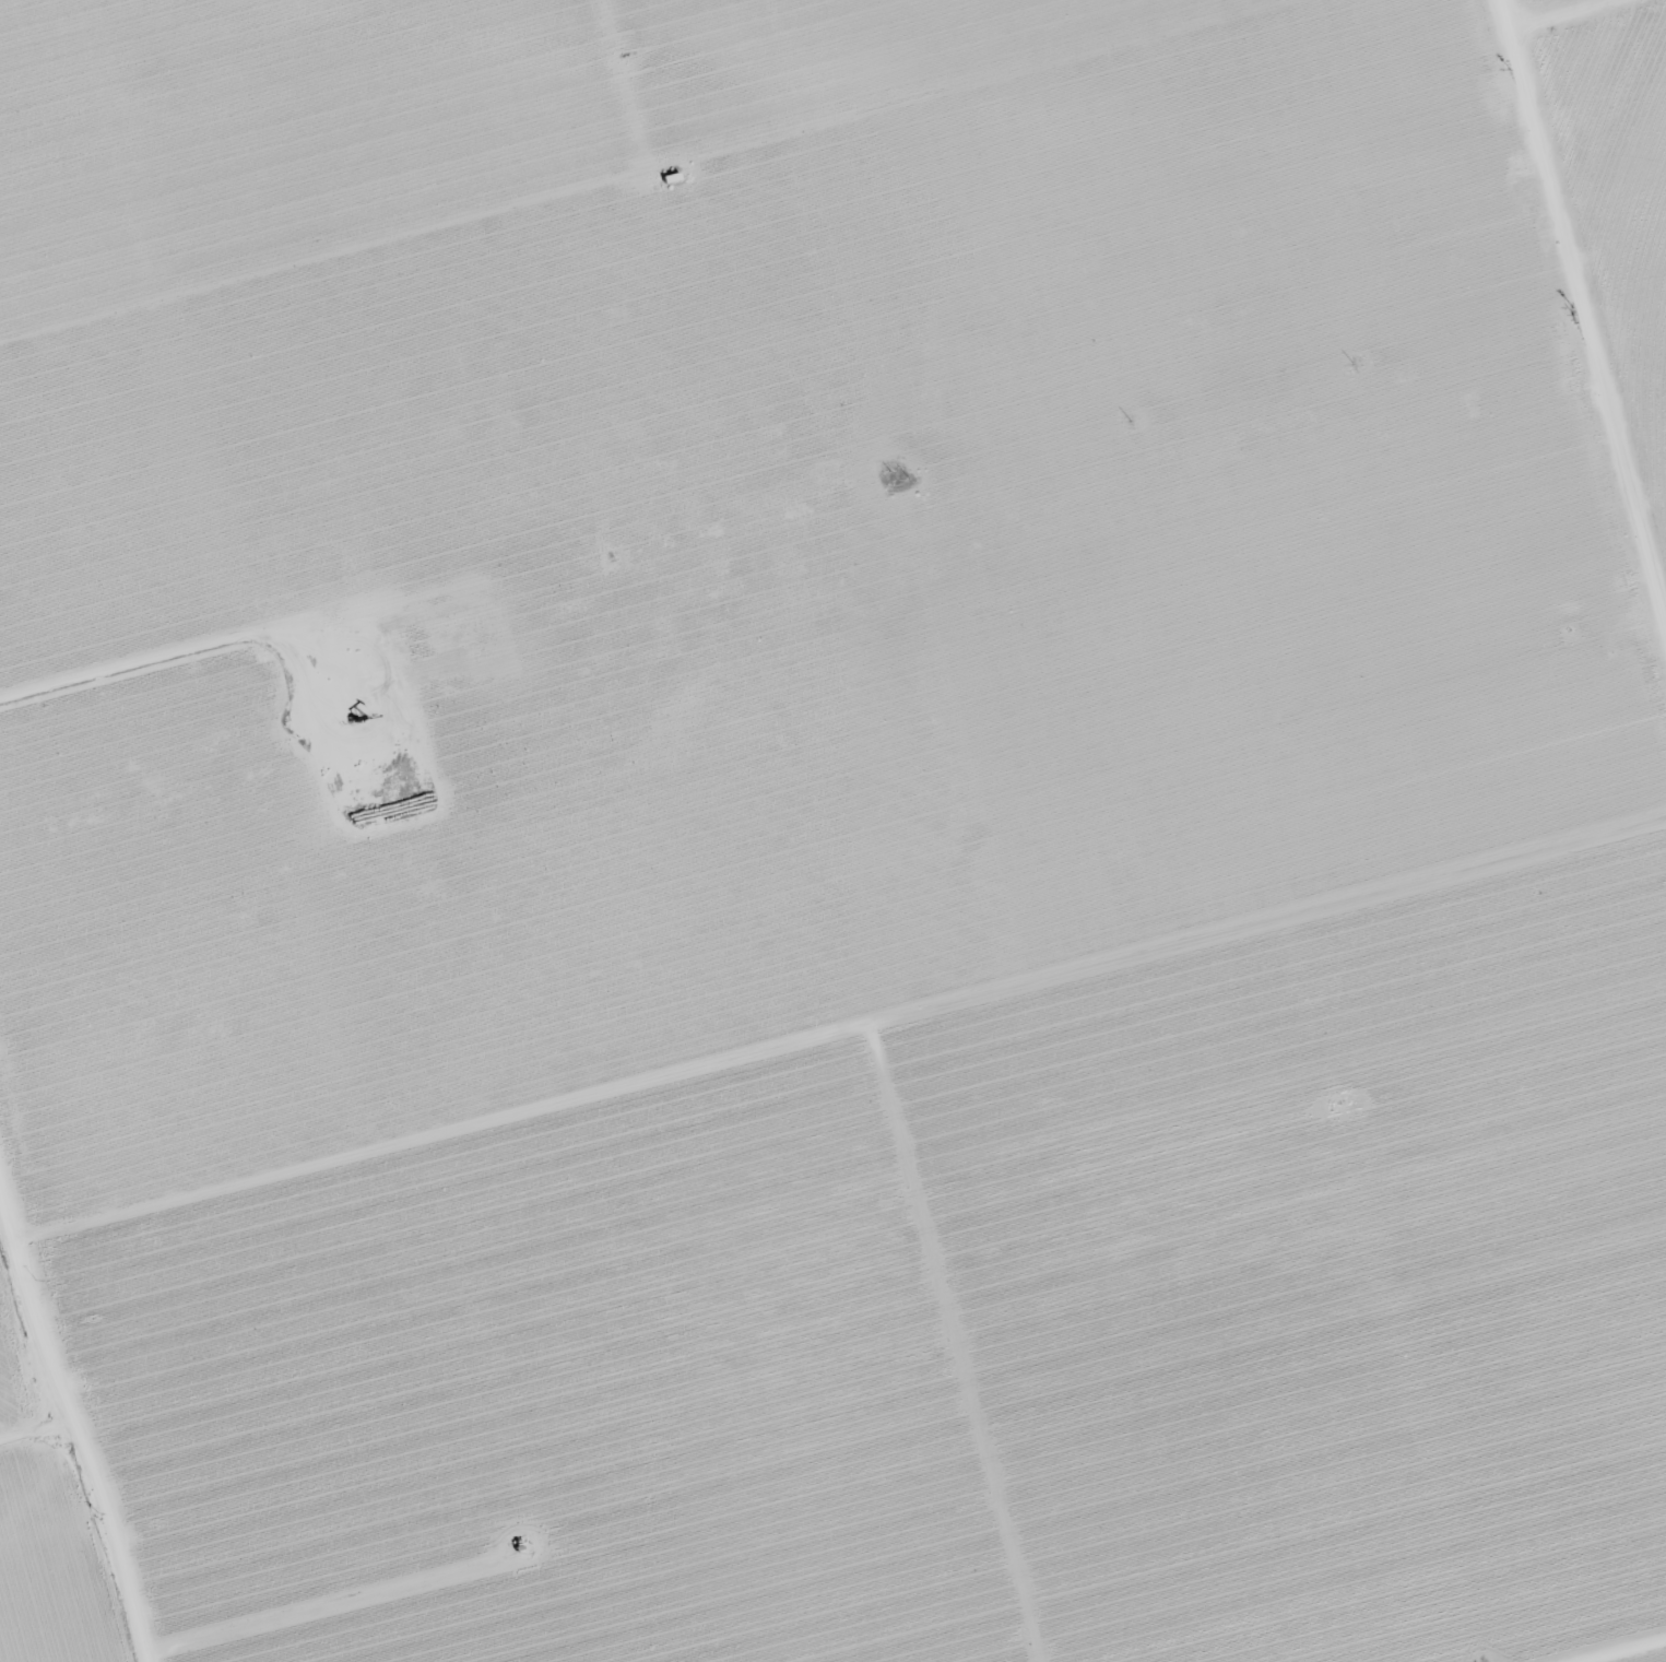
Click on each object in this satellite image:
road: (71, 1403)

